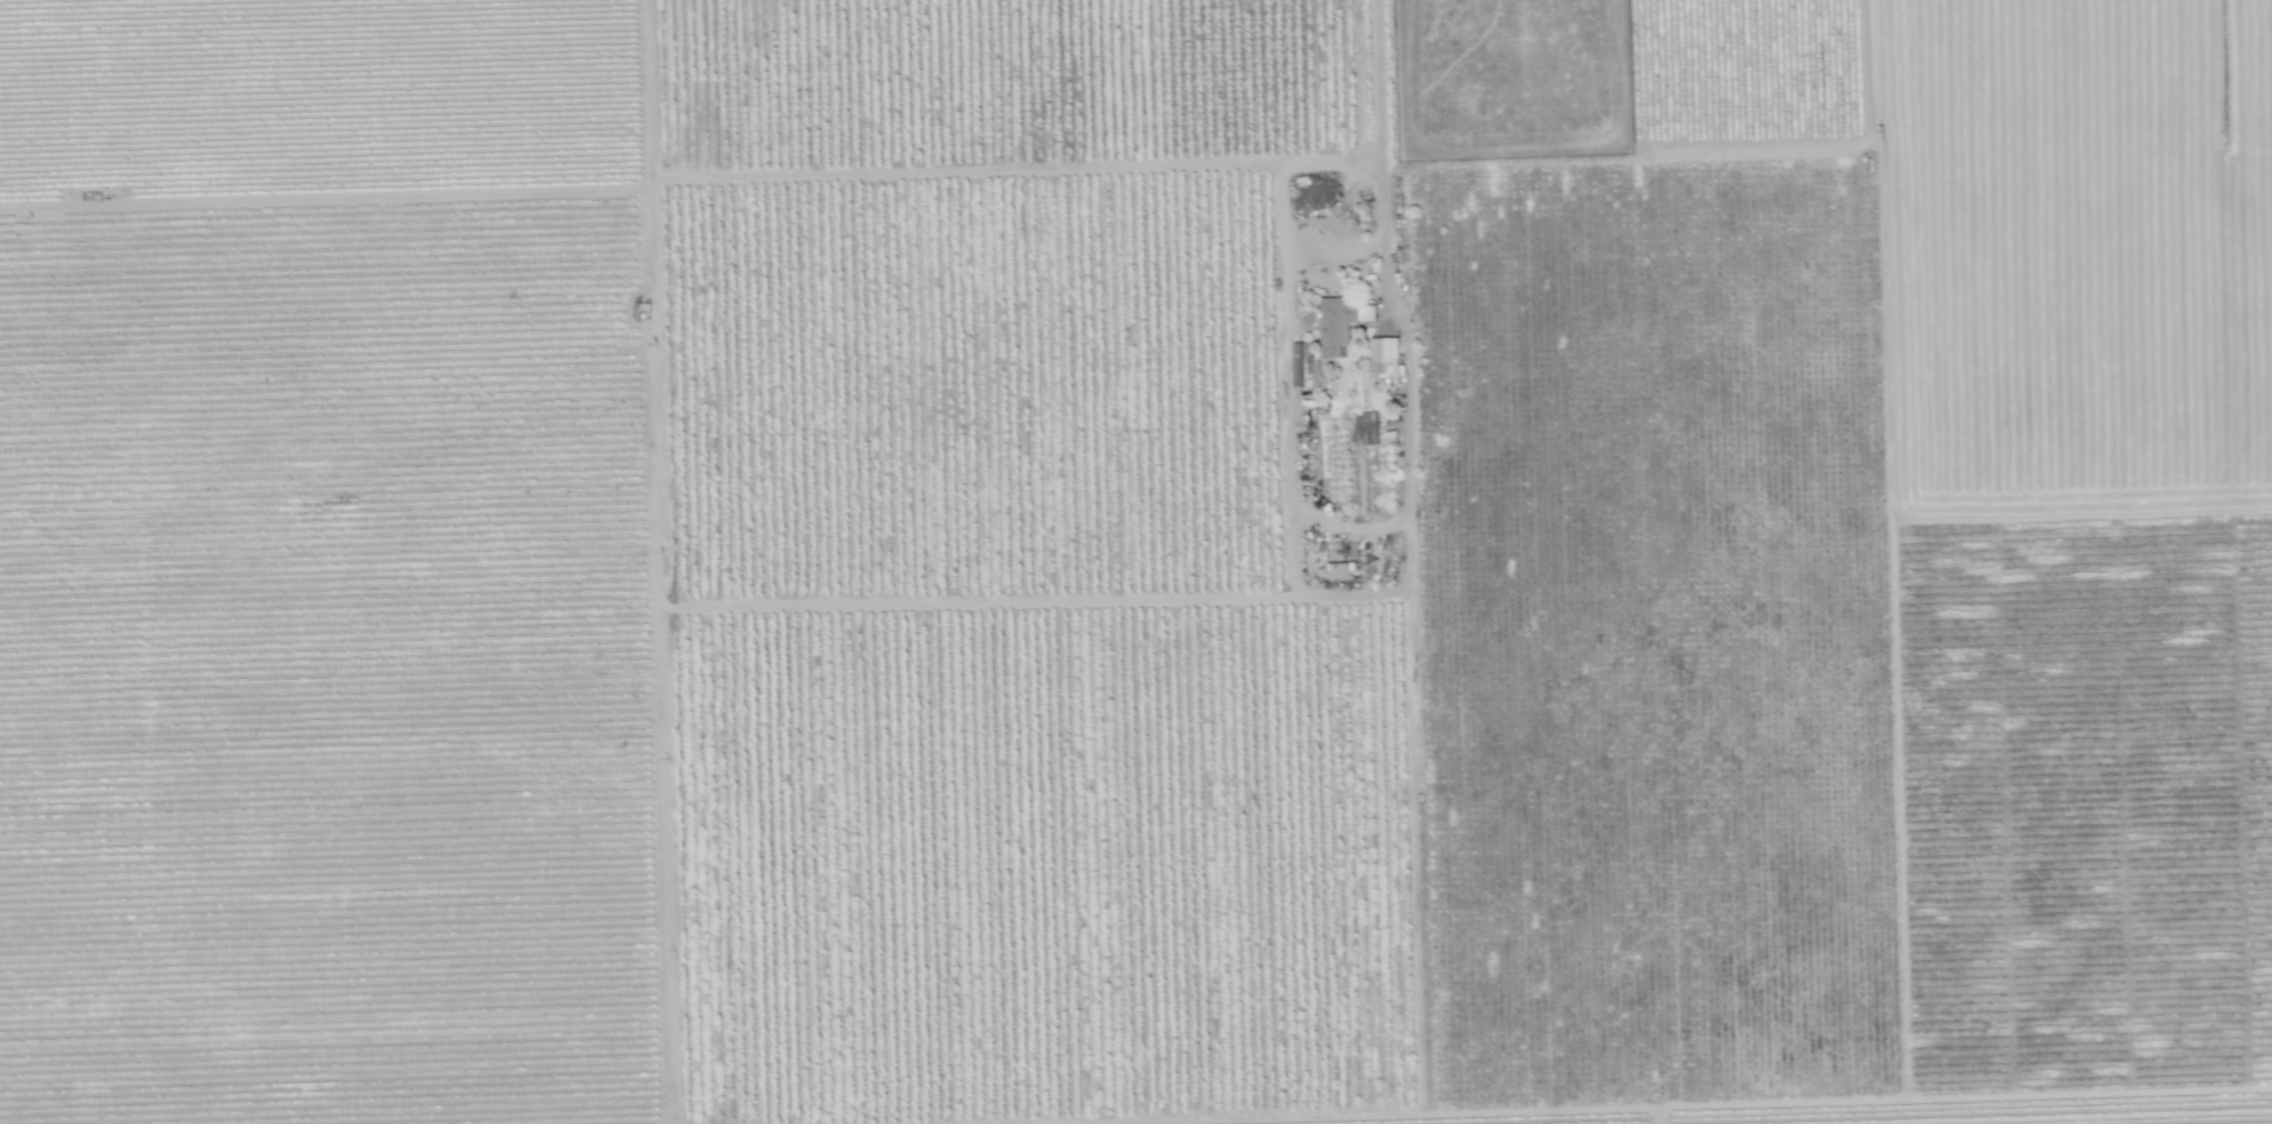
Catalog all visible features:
road: (1378, 76)
road: (1307, 243)
building: (1340, 322)
building: (1382, 352)
building: (1303, 365)
building: (1365, 429)
building: (1334, 570)

